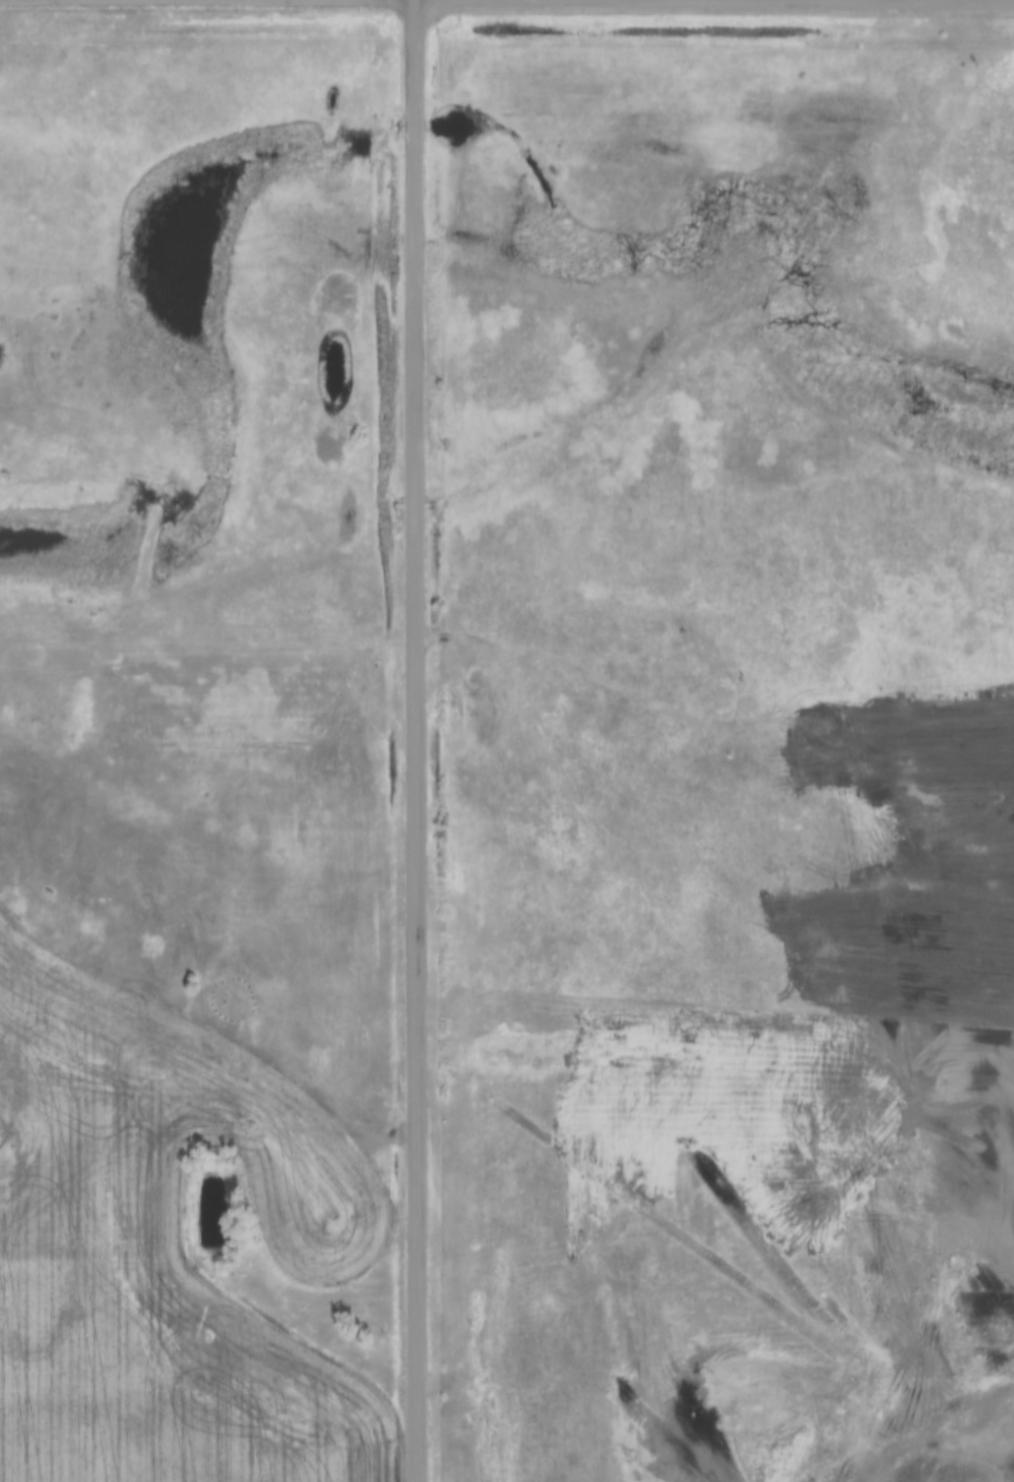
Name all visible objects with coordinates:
road: (413, 741)
quarry: (932, 1470)

